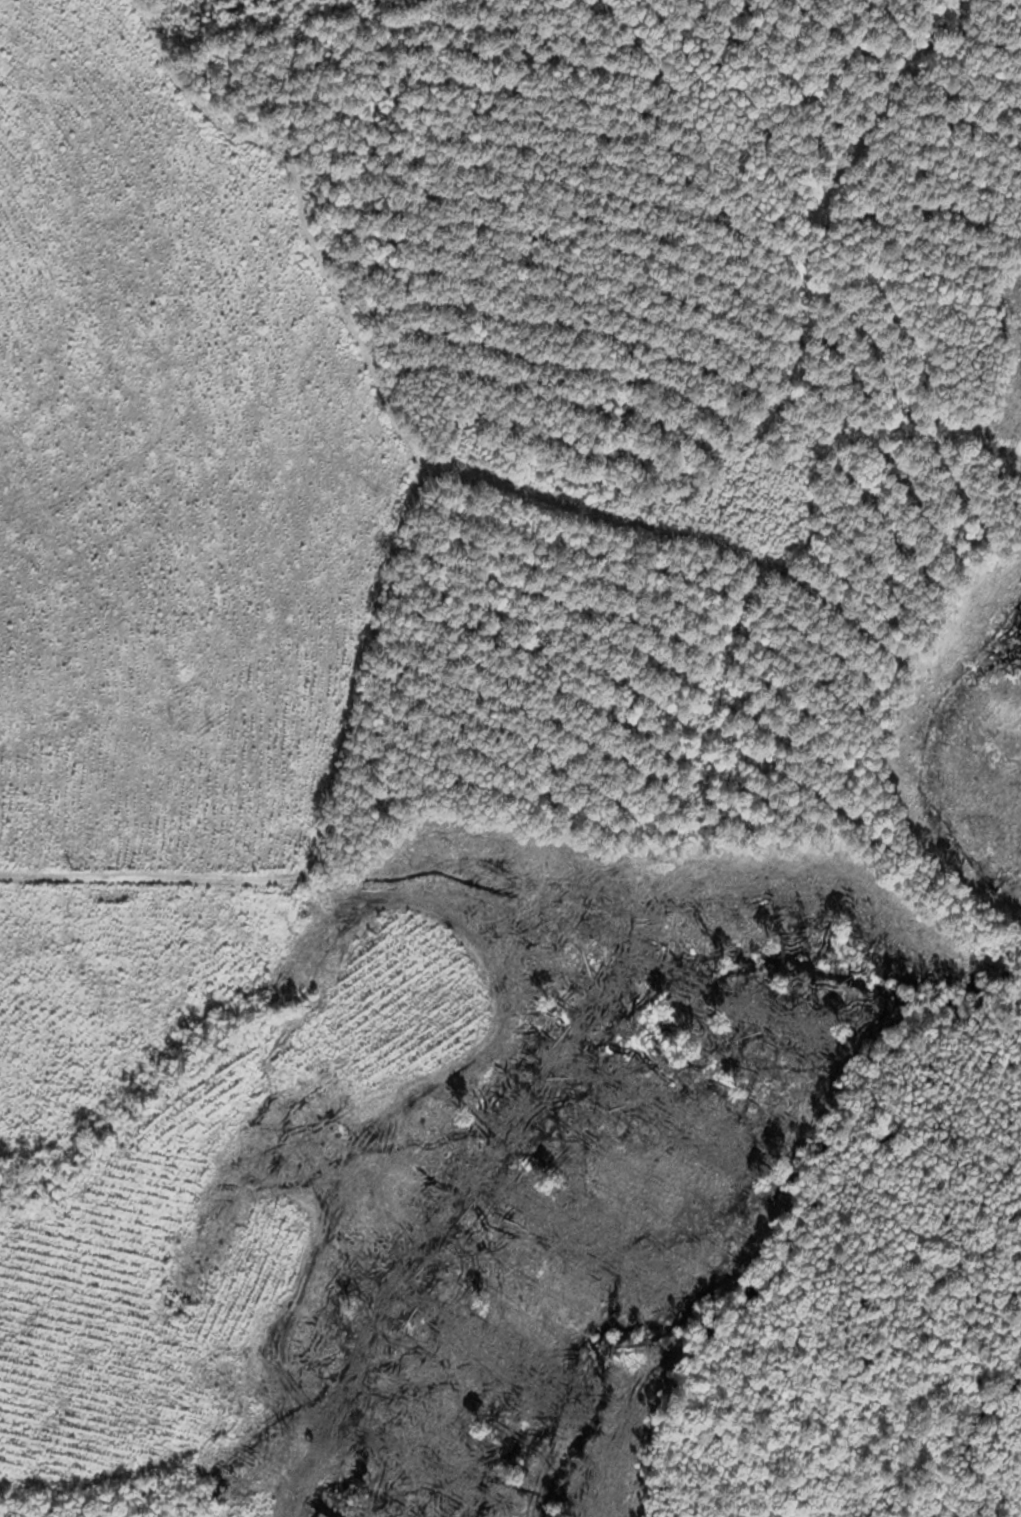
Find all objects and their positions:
road: (1017, 1500)

